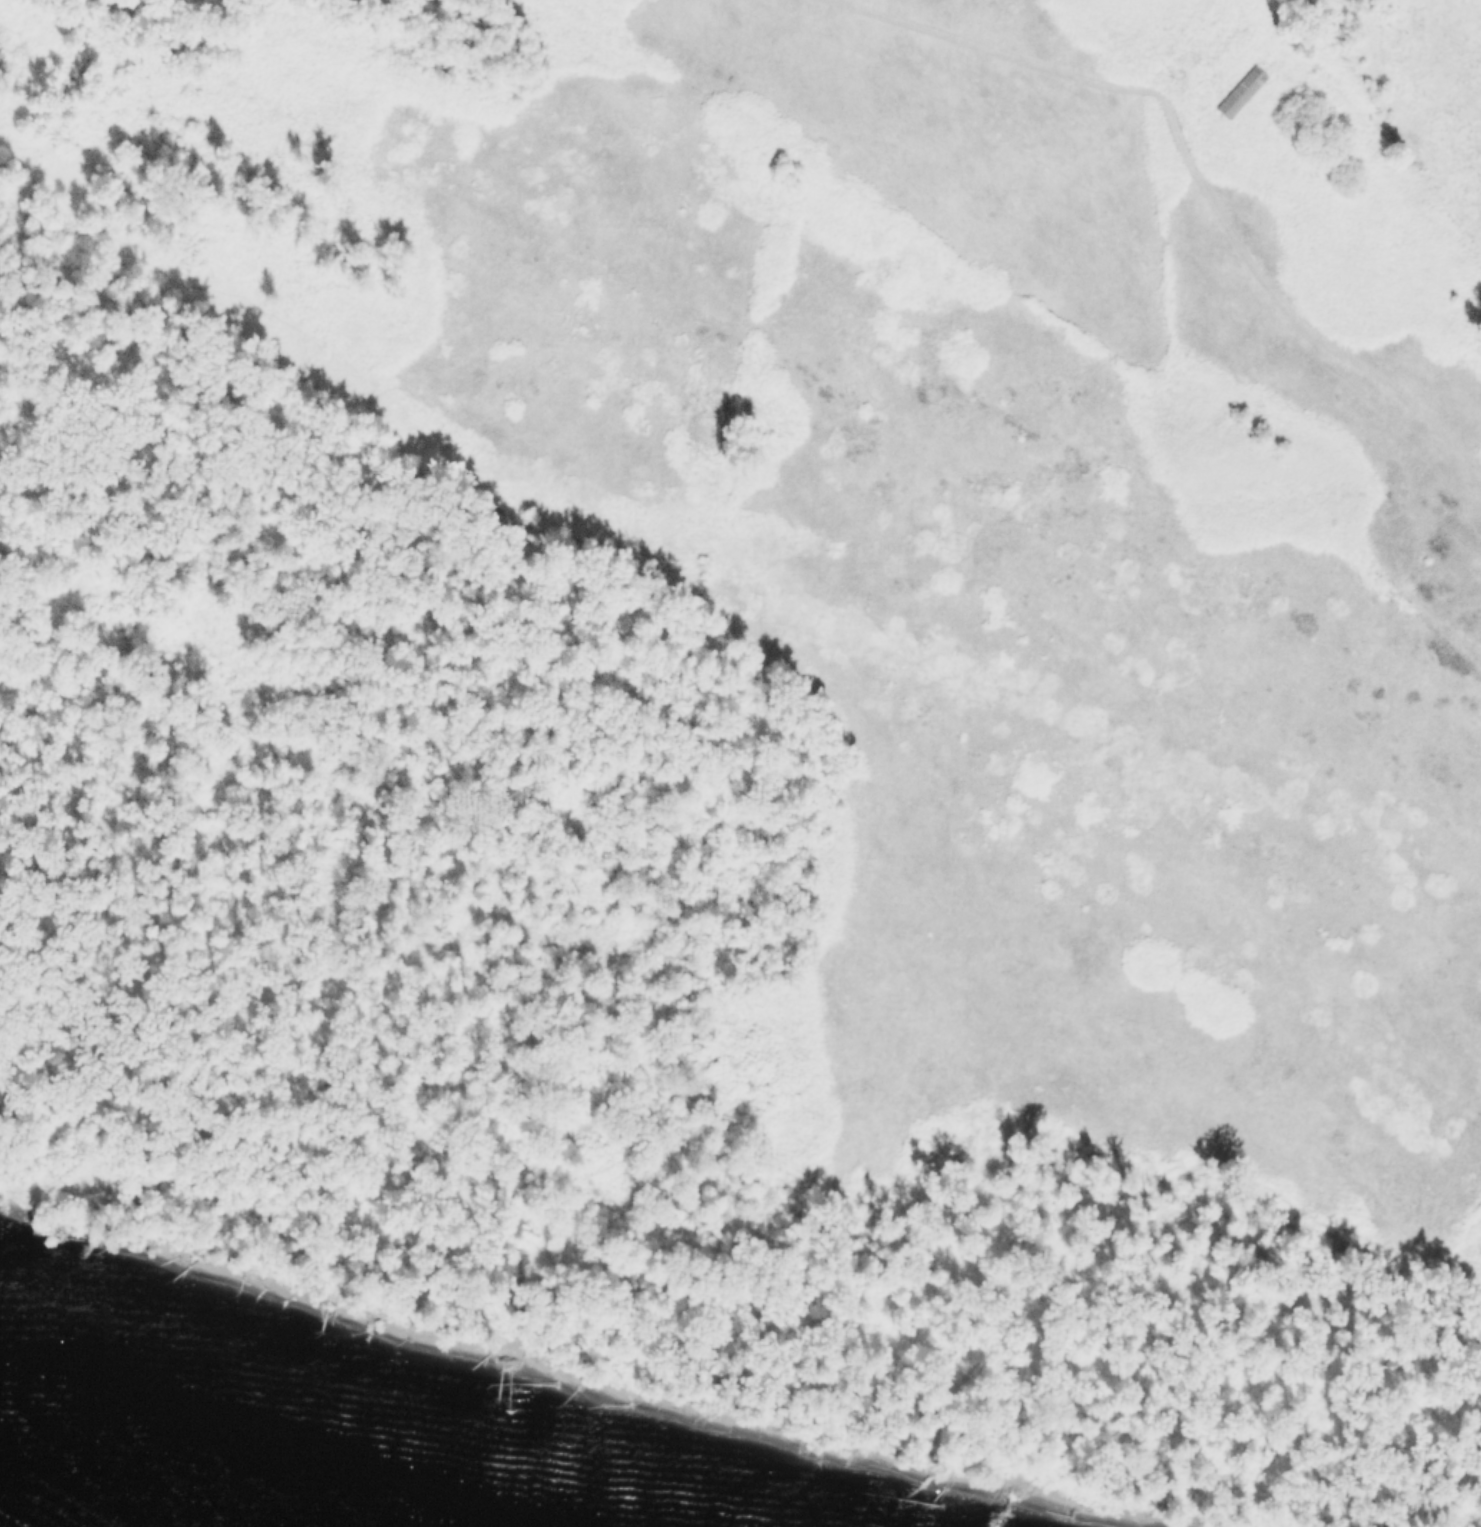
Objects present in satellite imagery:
building: (1241, 90)

